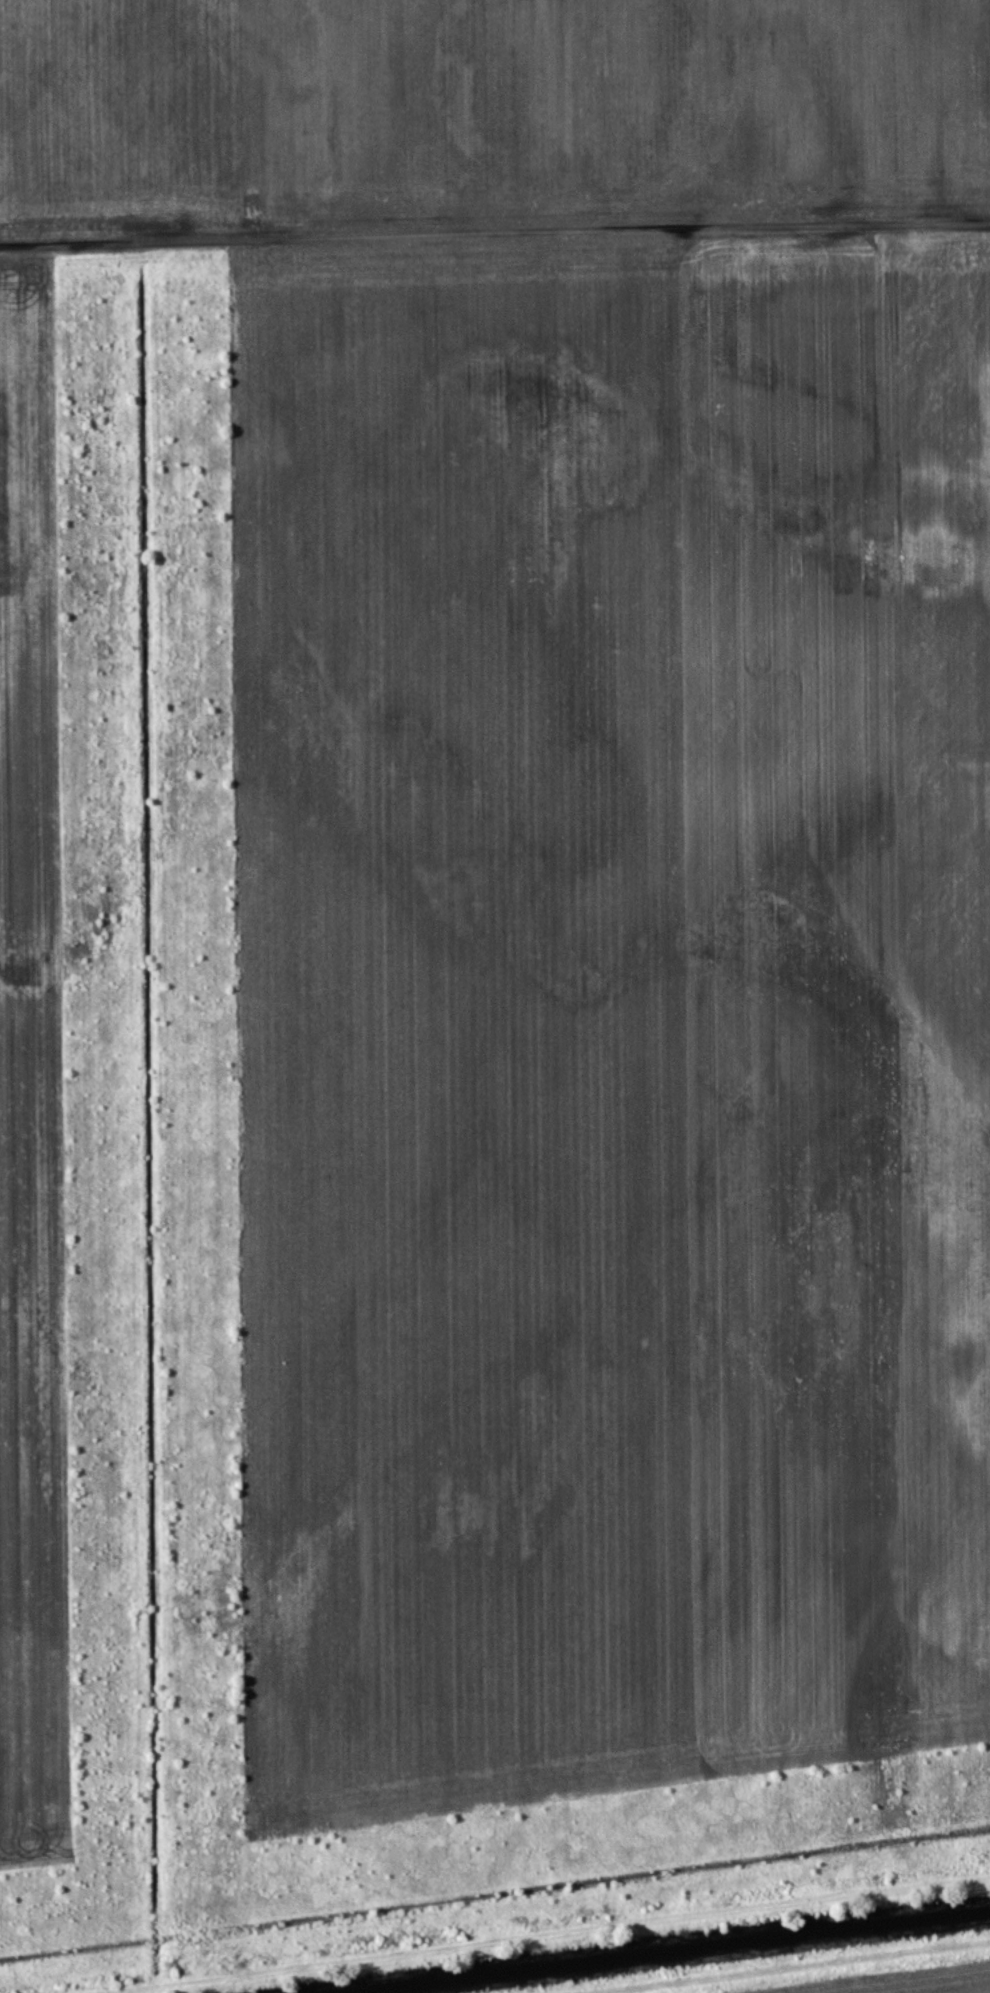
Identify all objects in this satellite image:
road: (495, 216)

